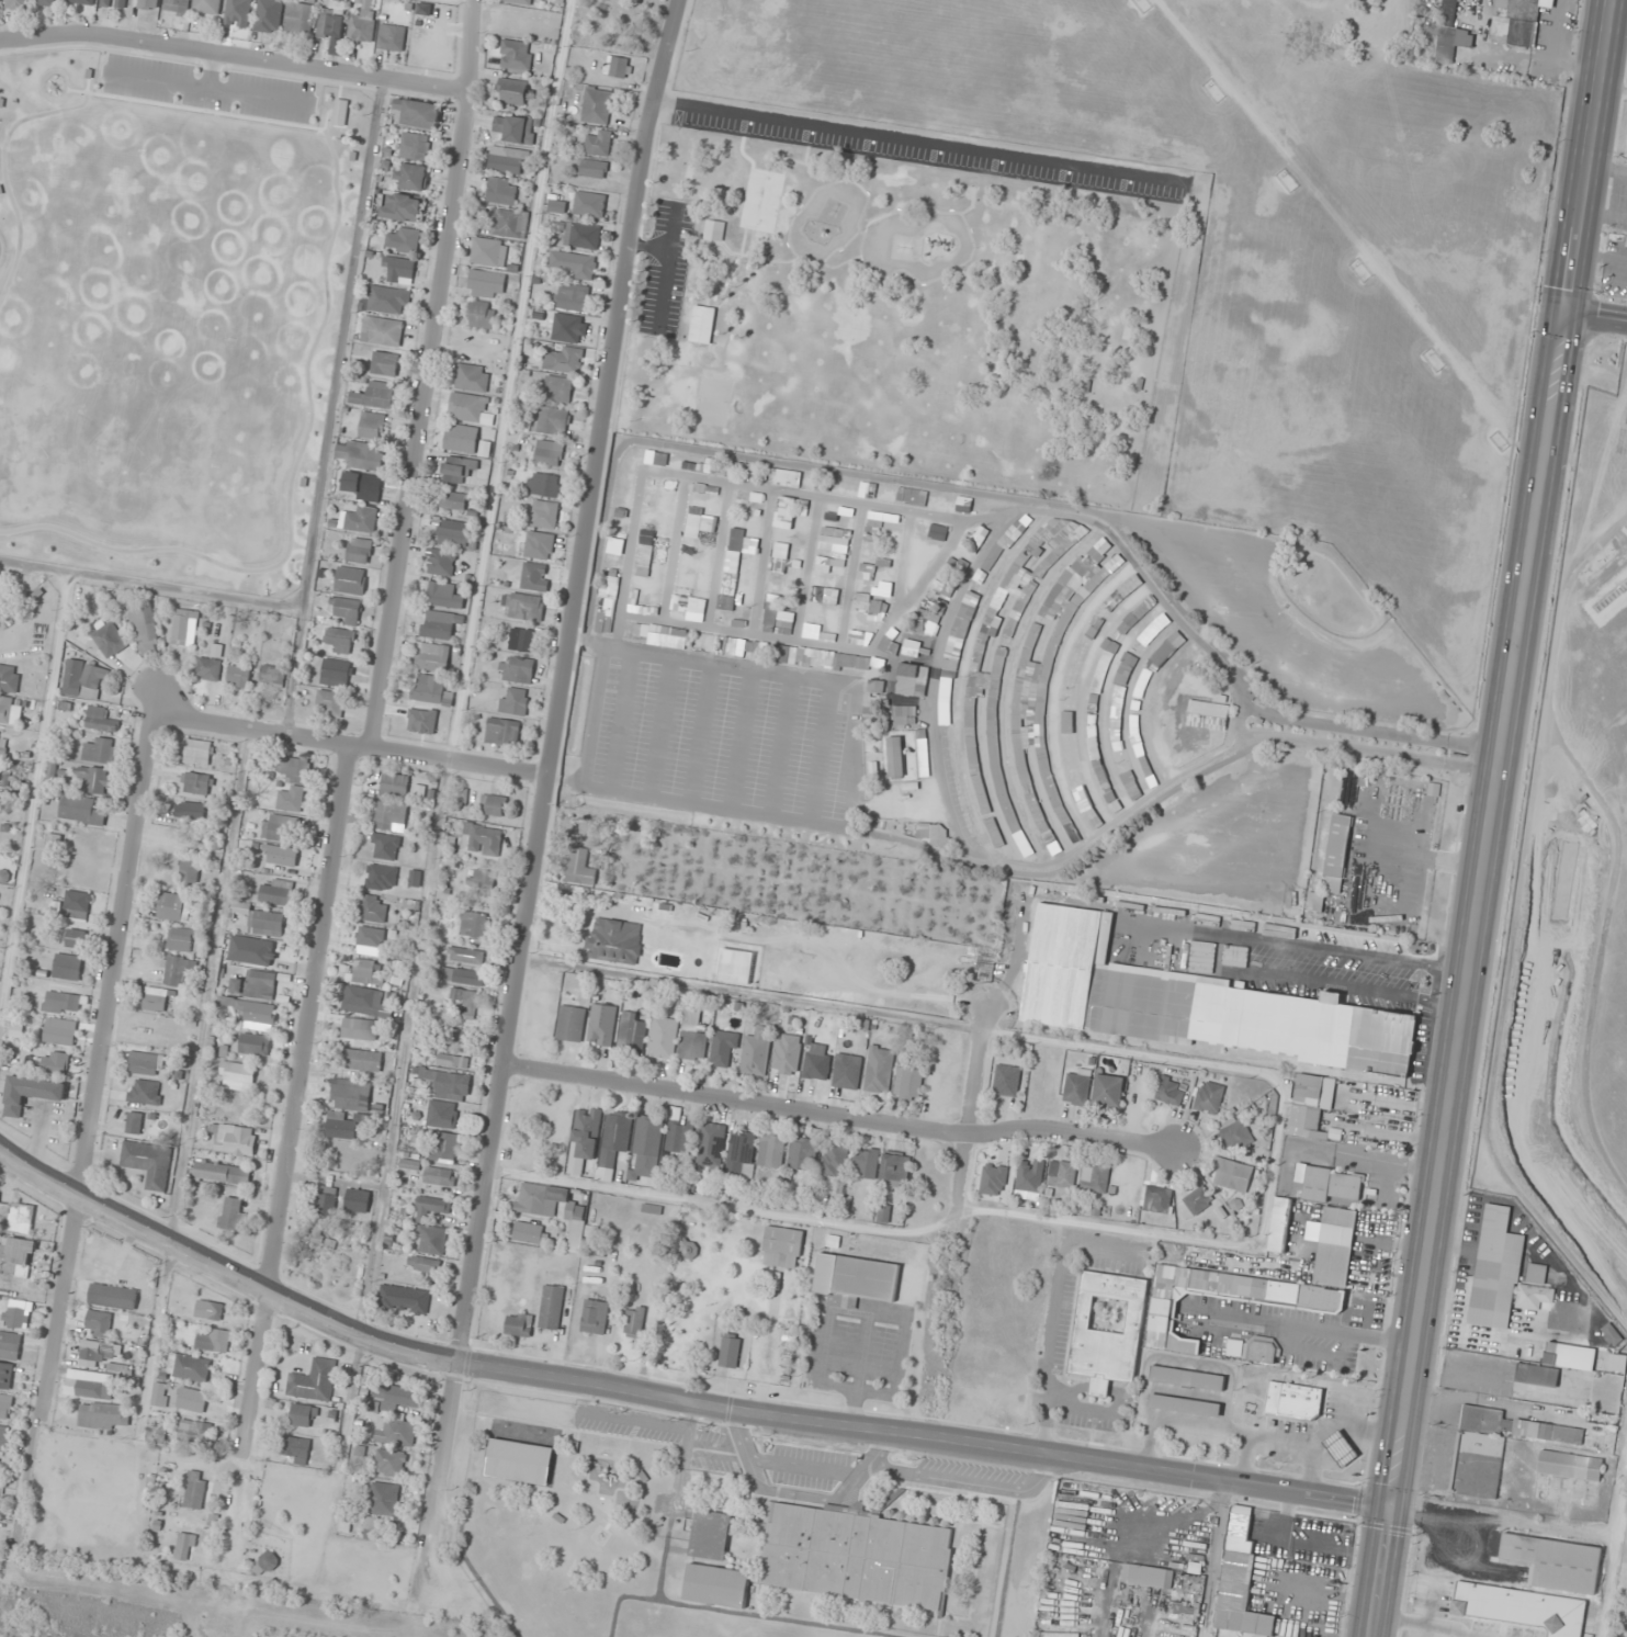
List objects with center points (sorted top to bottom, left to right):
building: (518, 1)
building: (46, 2)
building: (82, 2)
building: (113, 3)
building: (147, 4)
building: (18, 5)
building: (176, 7)
building: (206, 7)
building: (237, 13)
building: (268, 15)
building: (298, 18)
building: (330, 20)
building: (1514, 22)
building: (361, 24)
building: (1449, 33)
building: (391, 37)
building: (515, 55)
road: (236, 58)
building: (618, 67)
building: (511, 91)
building: (596, 105)
building: (340, 113)
building: (417, 114)
building: (515, 128)
building: (598, 143)
building: (414, 146)
parking lot: (927, 147)
building: (506, 159)
building: (592, 168)
building: (689, 171)
building: (411, 177)
road: (1176, 184)
building: (501, 190)
building: (969, 193)
park: (760, 199)
building: (588, 203)
road: (802, 206)
building: (402, 207)
building: (507, 224)
road: (859, 233)
building: (581, 235)
building: (408, 239)
building: (1084, 246)
building: (488, 251)
road: (805, 257)
building: (1017, 259)
road: (838, 263)
building: (574, 264)
parking lot: (667, 268)
building: (399, 269)
road: (871, 274)
road: (662, 275)
road: (727, 279)
building: (485, 284)
building: (848, 284)
building: (573, 297)
building: (388, 300)
building: (481, 314)
road: (1596, 315)
park: (911, 318)
building: (990, 318)
building: (702, 323)
building: (569, 328)
building: (381, 330)
building: (1125, 336)
building: (566, 360)
building: (384, 363)
building: (997, 368)
road: (428, 373)
building: (472, 377)
park: (805, 382)
building: (1086, 385)
building: (1138, 387)
building: (556, 388)
building: (374, 395)
park: (713, 400)
building: (468, 408)
building: (550, 420)
building: (371, 425)
building: (460, 438)
building: (1072, 443)
building: (547, 452)
building: (360, 454)
building: (457, 468)
building: (806, 481)
building: (543, 484)
building: (362, 485)
building: (454, 500)
building: (963, 504)
building: (544, 513)
building: (360, 518)
building: (937, 532)
building: (453, 533)
building: (978, 533)
building: (834, 540)
building: (1007, 540)
building: (539, 545)
building: (358, 550)
building: (440, 562)
building: (643, 564)
building: (961, 565)
building: (534, 576)
building: (350, 580)
building: (1125, 588)
building: (941, 589)
building: (974, 590)
building: (442, 595)
building: (823, 595)
building: (726, 596)
building: (869, 602)
building: (522, 606)
building: (775, 614)
building: (606, 617)
building: (924, 621)
building: (1096, 621)
building: (438, 624)
building: (144, 626)
building: (184, 626)
building: (1009, 628)
building: (339, 639)
building: (110, 640)
building: (523, 640)
building: (957, 640)
building: (889, 646)
building: (432, 657)
building: (862, 662)
building: (208, 668)
building: (516, 669)
building: (1101, 670)
building: (336, 673)
building: (239, 675)
building: (271, 675)
building: (9, 678)
building: (912, 679)
building: (83, 680)
building: (874, 686)
building: (1030, 688)
building: (429, 690)
building: (513, 701)
building: (329, 703)
building: (10, 709)
building: (1208, 709)
building: (903, 716)
building: (100, 719)
building: (501, 731)
building: (1069, 737)
road: (551, 741)
building: (2, 744)
road: (348, 745)
building: (99, 750)
building: (196, 752)
building: (895, 756)
building: (0, 760)
building: (1142, 761)
building: (293, 769)
building: (93, 779)
building: (195, 782)
building: (394, 784)
building: (1105, 784)
building: (290, 799)
building: (493, 804)
building: (80, 810)
building: (190, 810)
building: (389, 815)
building: (1093, 816)
road: (1491, 818)
building: (276, 827)
building: (993, 833)
building: (484, 838)
building: (54, 840)
building: (384, 846)
building: (1335, 853)
building: (279, 855)
building: (579, 867)
building: (189, 869)
building: (381, 877)
building: (482, 879)
building: (275, 892)
airport: (1571, 896)
building: (1314, 901)
building: (77, 904)
building: (172, 905)
building: (372, 907)
building: (264, 922)
building: (474, 924)
building: (370, 935)
building: (75, 938)
building: (181, 939)
building: (614, 940)
building: (248, 949)
building: (465, 956)
building: (67, 967)
building: (178, 970)
building: (365, 971)
building: (461, 975)
building: (255, 984)
building: (156, 998)
building: (465, 998)
building: (61, 1002)
building: (364, 1002)
building: (1196, 1004)
building: (252, 1013)
building: (569, 1024)
building: (359, 1028)
building: (600, 1028)
building: (632, 1030)
building: (59, 1031)
building: (692, 1034)
building: (662, 1038)
building: (253, 1045)
building: (723, 1049)
building: (755, 1053)
building: (786, 1053)
building: (361, 1060)
building: (452, 1061)
building: (816, 1061)
building: (55, 1062)
building: (144, 1063)
building: (878, 1070)
building: (846, 1071)
building: (236, 1076)
building: (1006, 1080)
building: (908, 1083)
building: (449, 1084)
building: (1076, 1087)
building: (146, 1092)
building: (1107, 1092)
building: (1168, 1092)
building: (30, 1093)
building: (344, 1094)
building: (1208, 1097)
road: (294, 1099)
building: (1310, 1105)
road: (88, 1107)
building: (441, 1114)
road: (839, 1114)
building: (133, 1122)
road: (972, 1130)
building: (586, 1132)
building: (678, 1133)
building: (1235, 1134)
building: (234, 1139)
building: (612, 1142)
building: (646, 1145)
building: (443, 1147)
building: (711, 1150)
building: (770, 1150)
building: (802, 1153)
building: (739, 1154)
building: (833, 1160)
building: (148, 1162)
building: (865, 1162)
building: (893, 1170)
building: (222, 1173)
building: (1061, 1173)
building: (1231, 1174)
building: (438, 1175)
building: (1028, 1175)
building: (1094, 1177)
building: (992, 1179)
building: (1329, 1183)
building: (1155, 1199)
building: (1197, 1199)
building: (325, 1200)
building: (355, 1200)
building: (430, 1207)
building: (552, 1208)
building: (651, 1209)
building: (231, 1213)
building: (16, 1216)
building: (1278, 1224)
building: (315, 1232)
building: (527, 1232)
building: (430, 1239)
building: (1334, 1246)
building: (781, 1247)
building: (687, 1250)
building: (20, 1257)
building: (1536, 1263)
building: (421, 1264)
building: (1500, 1274)
building: (856, 1277)
building: (112, 1296)
building: (1575, 1298)
building: (403, 1299)
building: (551, 1300)
building: (1301, 1300)
building: (208, 1310)
building: (18, 1313)
building: (594, 1317)
building: (632, 1322)
building: (102, 1324)
building: (518, 1324)
building: (1107, 1330)
building: (213, 1341)
building: (9, 1345)
building: (728, 1351)
building: (1261, 1352)
building: (95, 1353)
building: (1562, 1356)
building: (188, 1367)
building: (1535, 1374)
building: (3, 1377)
building: (1186, 1378)
building: (313, 1381)
building: (93, 1388)
building: (158, 1393)
building: (399, 1398)
road: (673, 1398)
building: (1292, 1400)
building: (191, 1402)
building: (1184, 1404)
building: (4, 1405)
building: (102, 1415)
building: (302, 1415)
building: (193, 1432)
building: (394, 1432)
building: (3, 1438)
building: (1338, 1447)
building: (1492, 1447)
building: (294, 1450)
building: (519, 1461)
building: (389, 1463)
road: (798, 1465)
building: (1569, 1466)
road: (953, 1480)
building: (194, 1490)
road: (795, 1494)
building: (383, 1499)
traffic signals: (1390, 1508)
building: (709, 1535)
building: (184, 1546)
building: (854, 1556)
building: (268, 1560)
building: (1553, 1562)
building: (1146, 1576)
building: (1239, 1581)
building: (715, 1585)
building: (1519, 1608)

